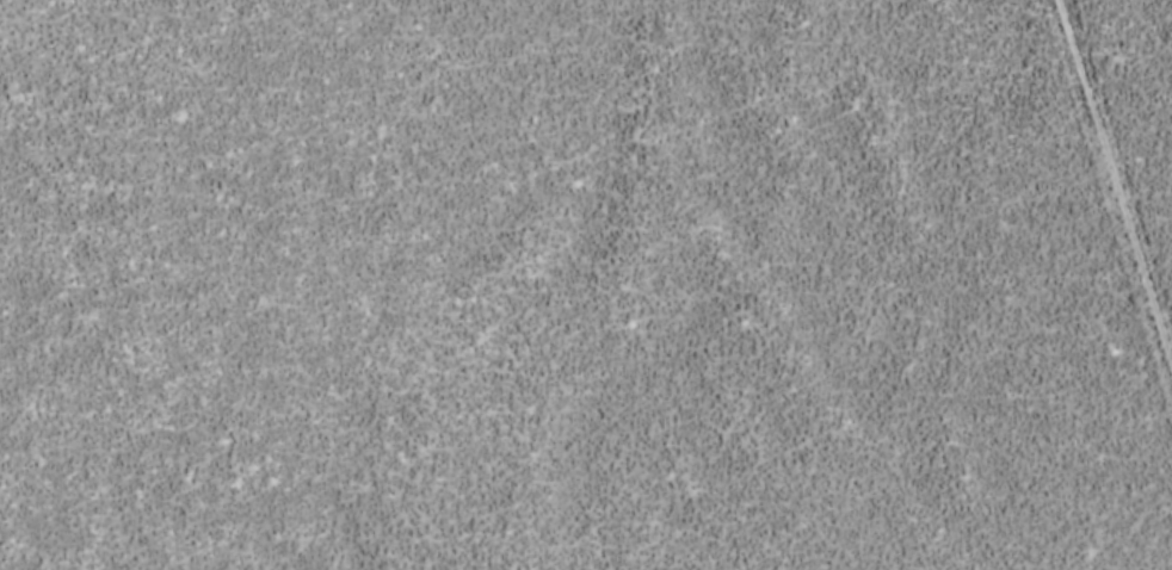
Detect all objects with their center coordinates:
road: (1116, 179)

